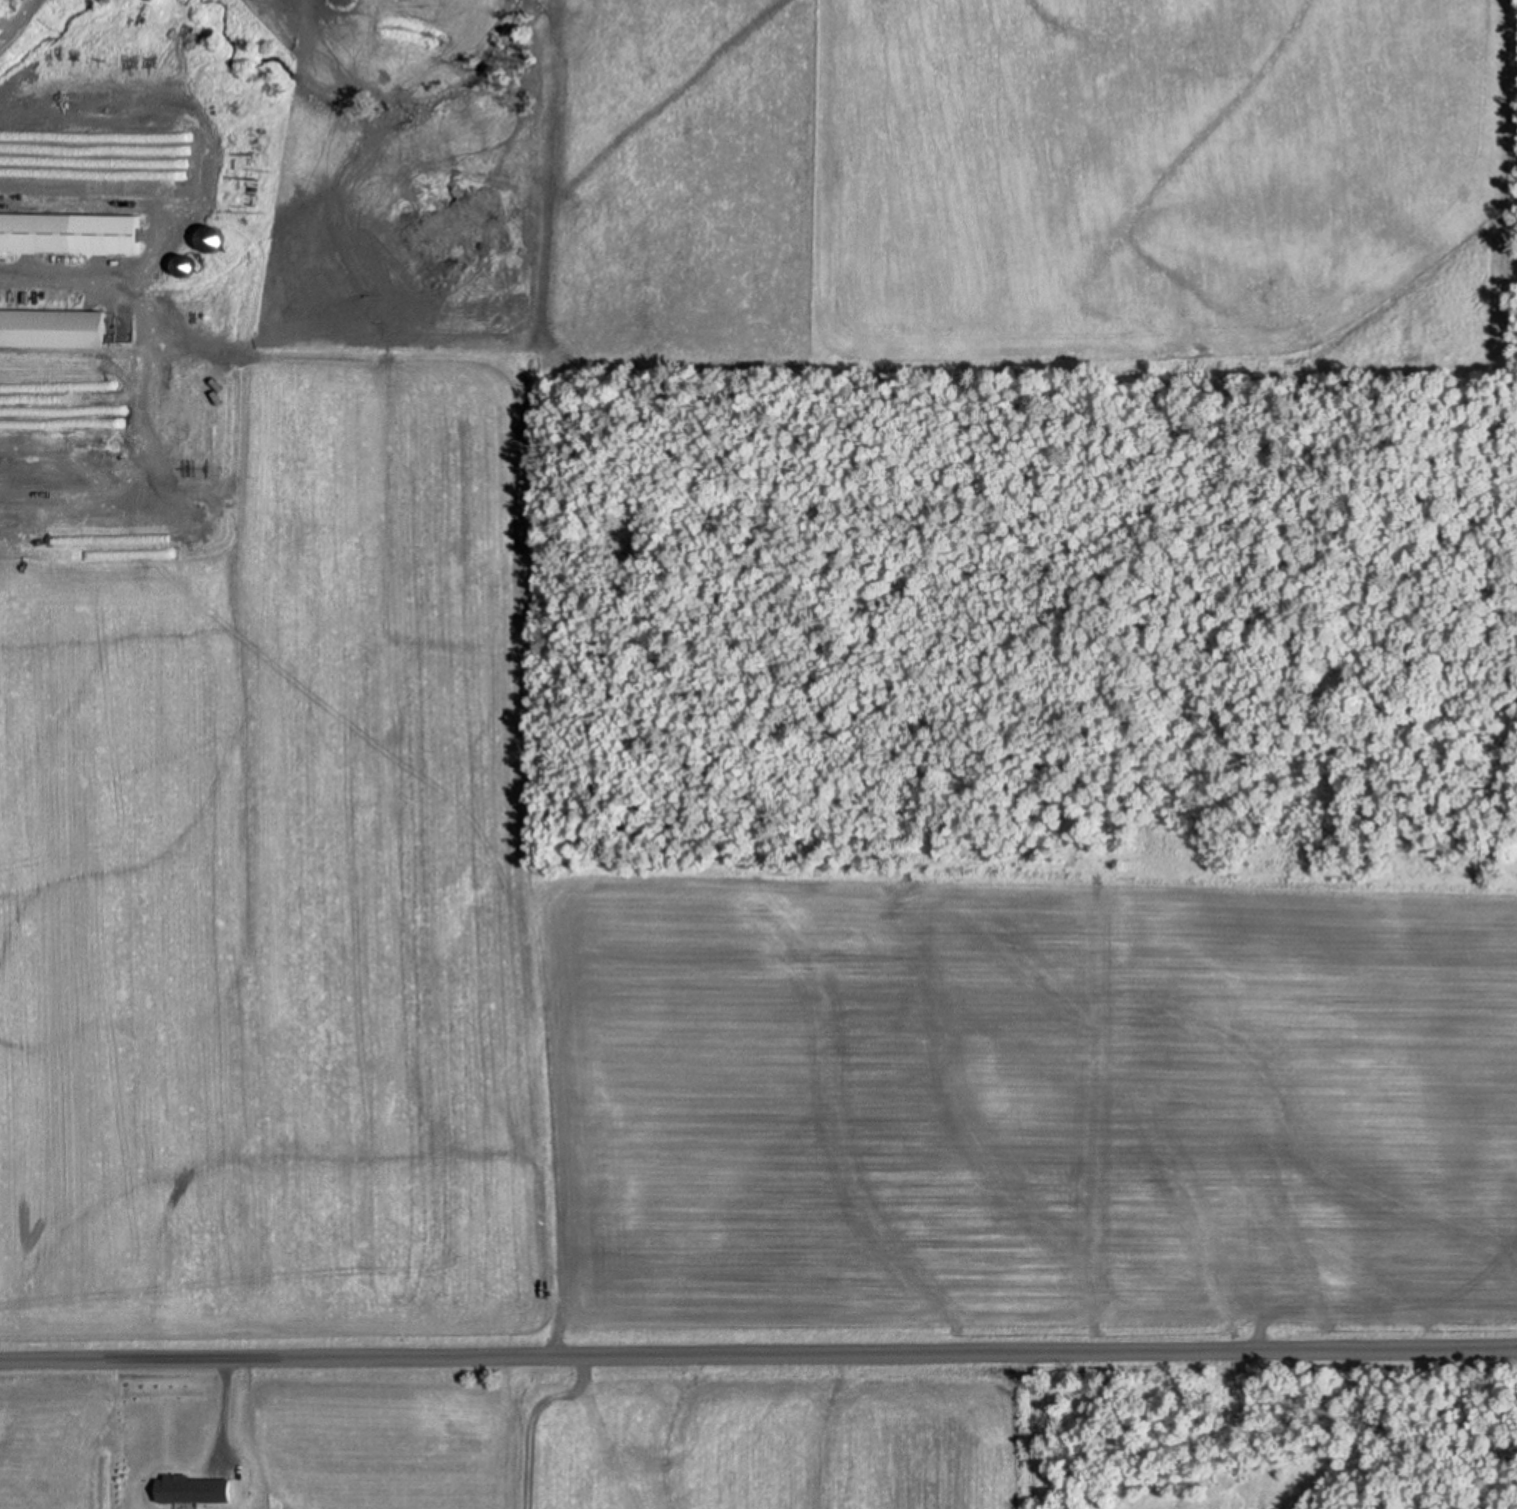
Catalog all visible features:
building: (69, 232)
building: (52, 328)
building: (179, 405)
road: (758, 1354)
building: (196, 1489)

